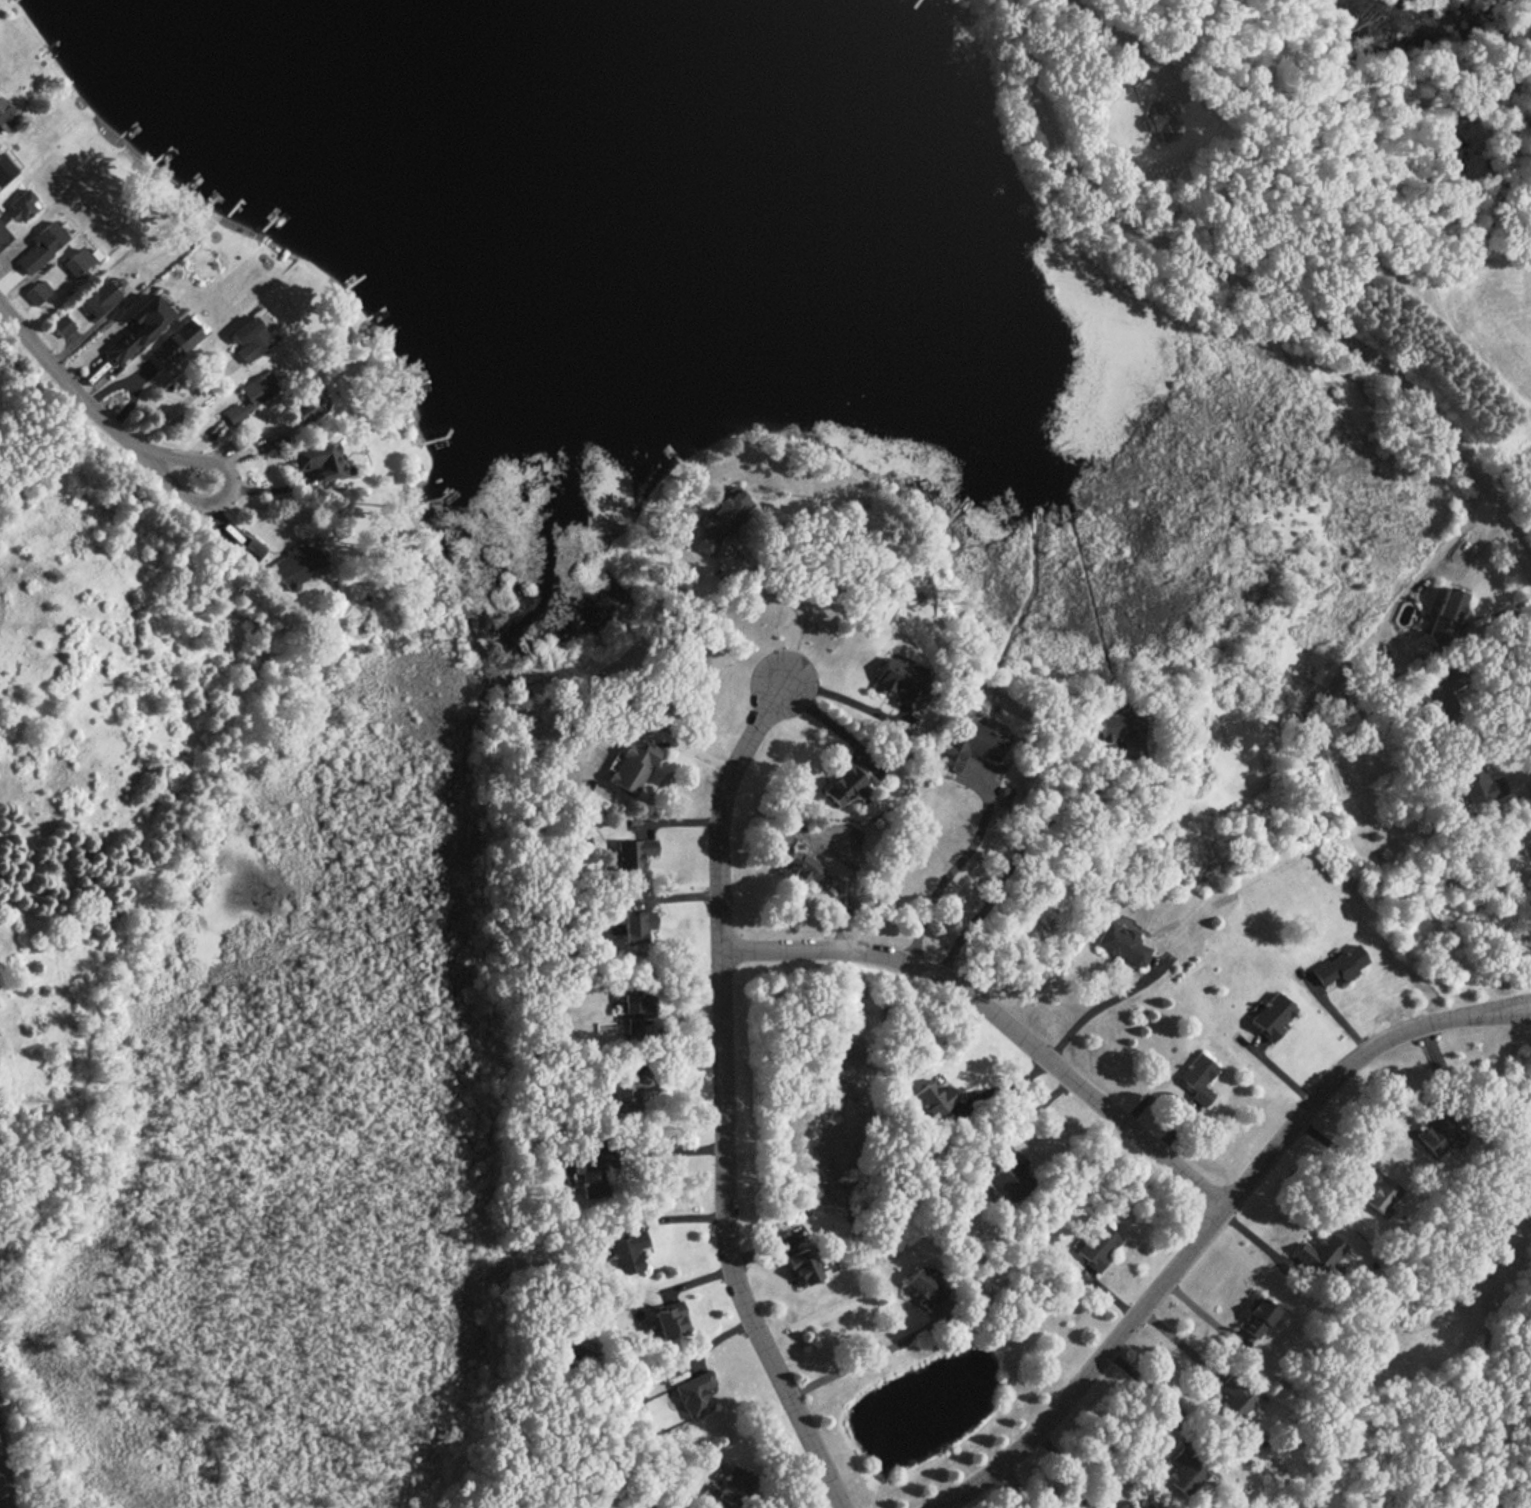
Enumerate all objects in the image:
road: (1114, 33)
building: (6, 116)
building: (1159, 122)
building: (5, 168)
building: (22, 204)
building: (0, 226)
building: (42, 246)
building: (78, 263)
building: (37, 291)
road: (1257, 295)
building: (99, 299)
building: (62, 325)
building: (139, 328)
road: (85, 333)
building: (252, 338)
building: (179, 340)
building: (254, 395)
road: (180, 407)
building: (306, 410)
road: (96, 412)
building: (319, 461)
building: (721, 519)
building: (253, 549)
road: (1441, 563)
building: (298, 564)
road: (786, 606)
building: (1445, 617)
road: (1501, 668)
building: (901, 680)
building: (1441, 690)
road: (840, 710)
building: (1122, 731)
building: (969, 745)
building: (632, 767)
road: (1520, 774)
building: (1479, 782)
building: (846, 784)
building: (1528, 828)
building: (634, 852)
road: (1014, 864)
building: (804, 869)
road: (951, 877)
building: (636, 926)
building: (1120, 943)
building: (1339, 965)
building: (636, 1002)
road: (1495, 1003)
road: (1097, 1009)
road: (1495, 1013)
building: (1271, 1016)
road: (995, 1017)
building: (632, 1025)
road: (1436, 1064)
building: (1197, 1078)
building: (630, 1090)
road: (1007, 1097)
building: (933, 1098)
road: (721, 1101)
road: (1034, 1125)
building: (1438, 1131)
road: (1330, 1147)
road: (657, 1154)
building: (592, 1171)
building: (1008, 1177)
building: (1379, 1192)
building: (1098, 1244)
road: (1188, 1249)
building: (627, 1252)
building: (1318, 1254)
building: (803, 1266)
building: (925, 1286)
building: (1257, 1318)
building: (670, 1320)
road: (1179, 1344)
road: (706, 1358)
road: (857, 1365)
road: (1150, 1387)
building: (694, 1394)
building: (1233, 1400)
road: (1064, 1467)
building: (1186, 1470)
building: (734, 1486)
road: (1019, 1486)
building: (1150, 1504)
building: (672, 1506)
building: (1125, 1506)

